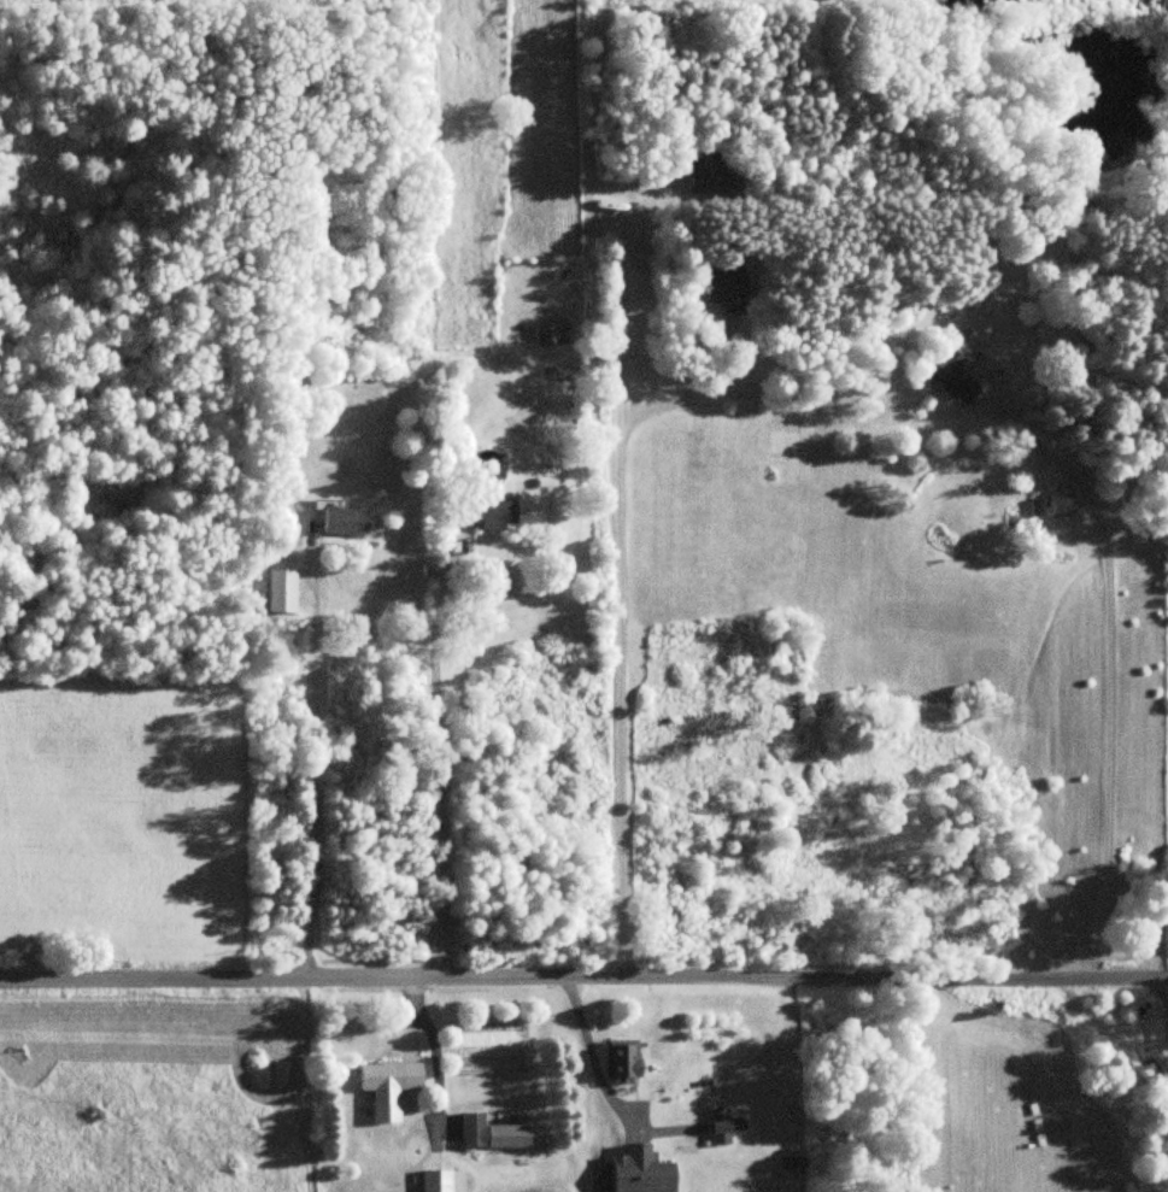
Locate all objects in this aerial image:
building: (703, 163)
building: (722, 292)
building: (546, 335)
building: (947, 376)
road: (679, 398)
building: (1057, 506)
building: (482, 512)
building: (335, 519)
building: (277, 592)
road: (617, 599)
road: (1104, 699)
road: (439, 769)
road: (315, 797)
road: (583, 981)
road: (1164, 1005)
road: (589, 1062)
building: (618, 1064)
road: (438, 1065)
building: (386, 1079)
building: (721, 1126)
building: (488, 1134)
building: (638, 1173)
building: (438, 1181)

